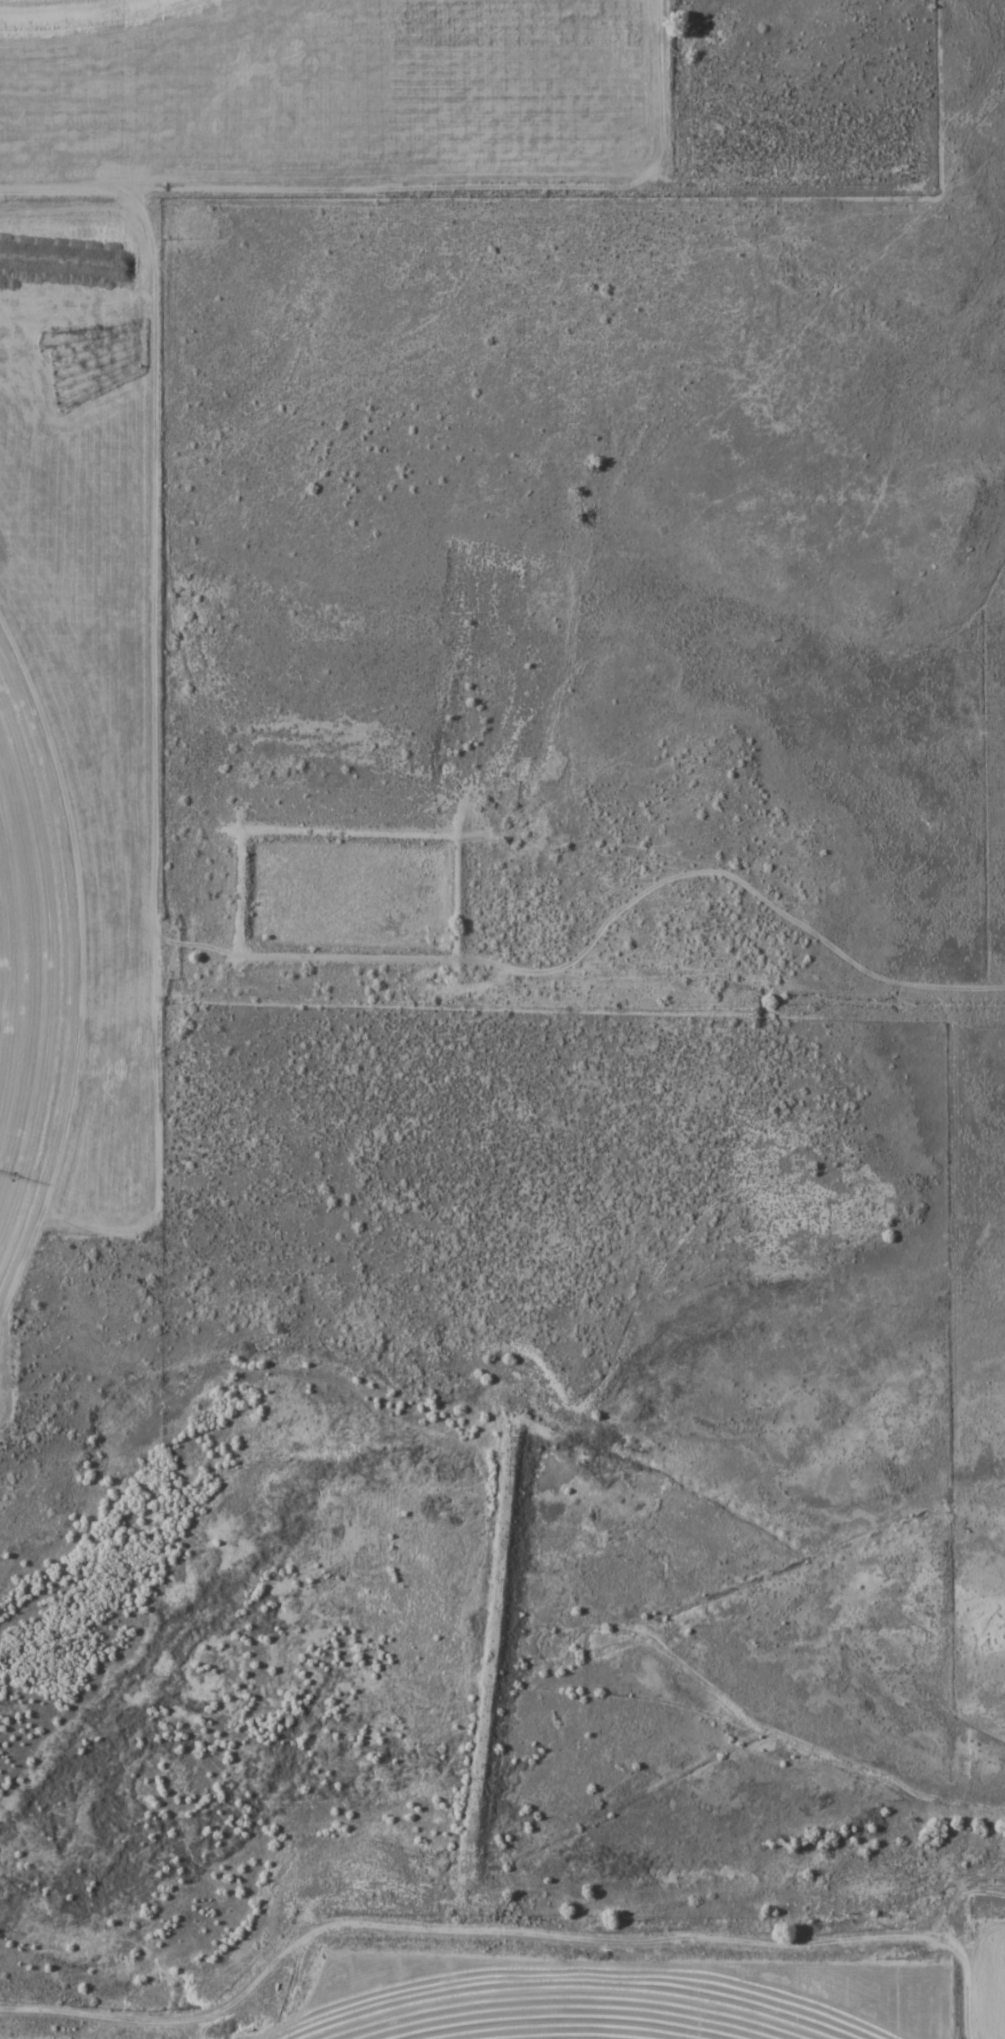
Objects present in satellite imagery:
road: (420, 192)
crop: (27, 972)

